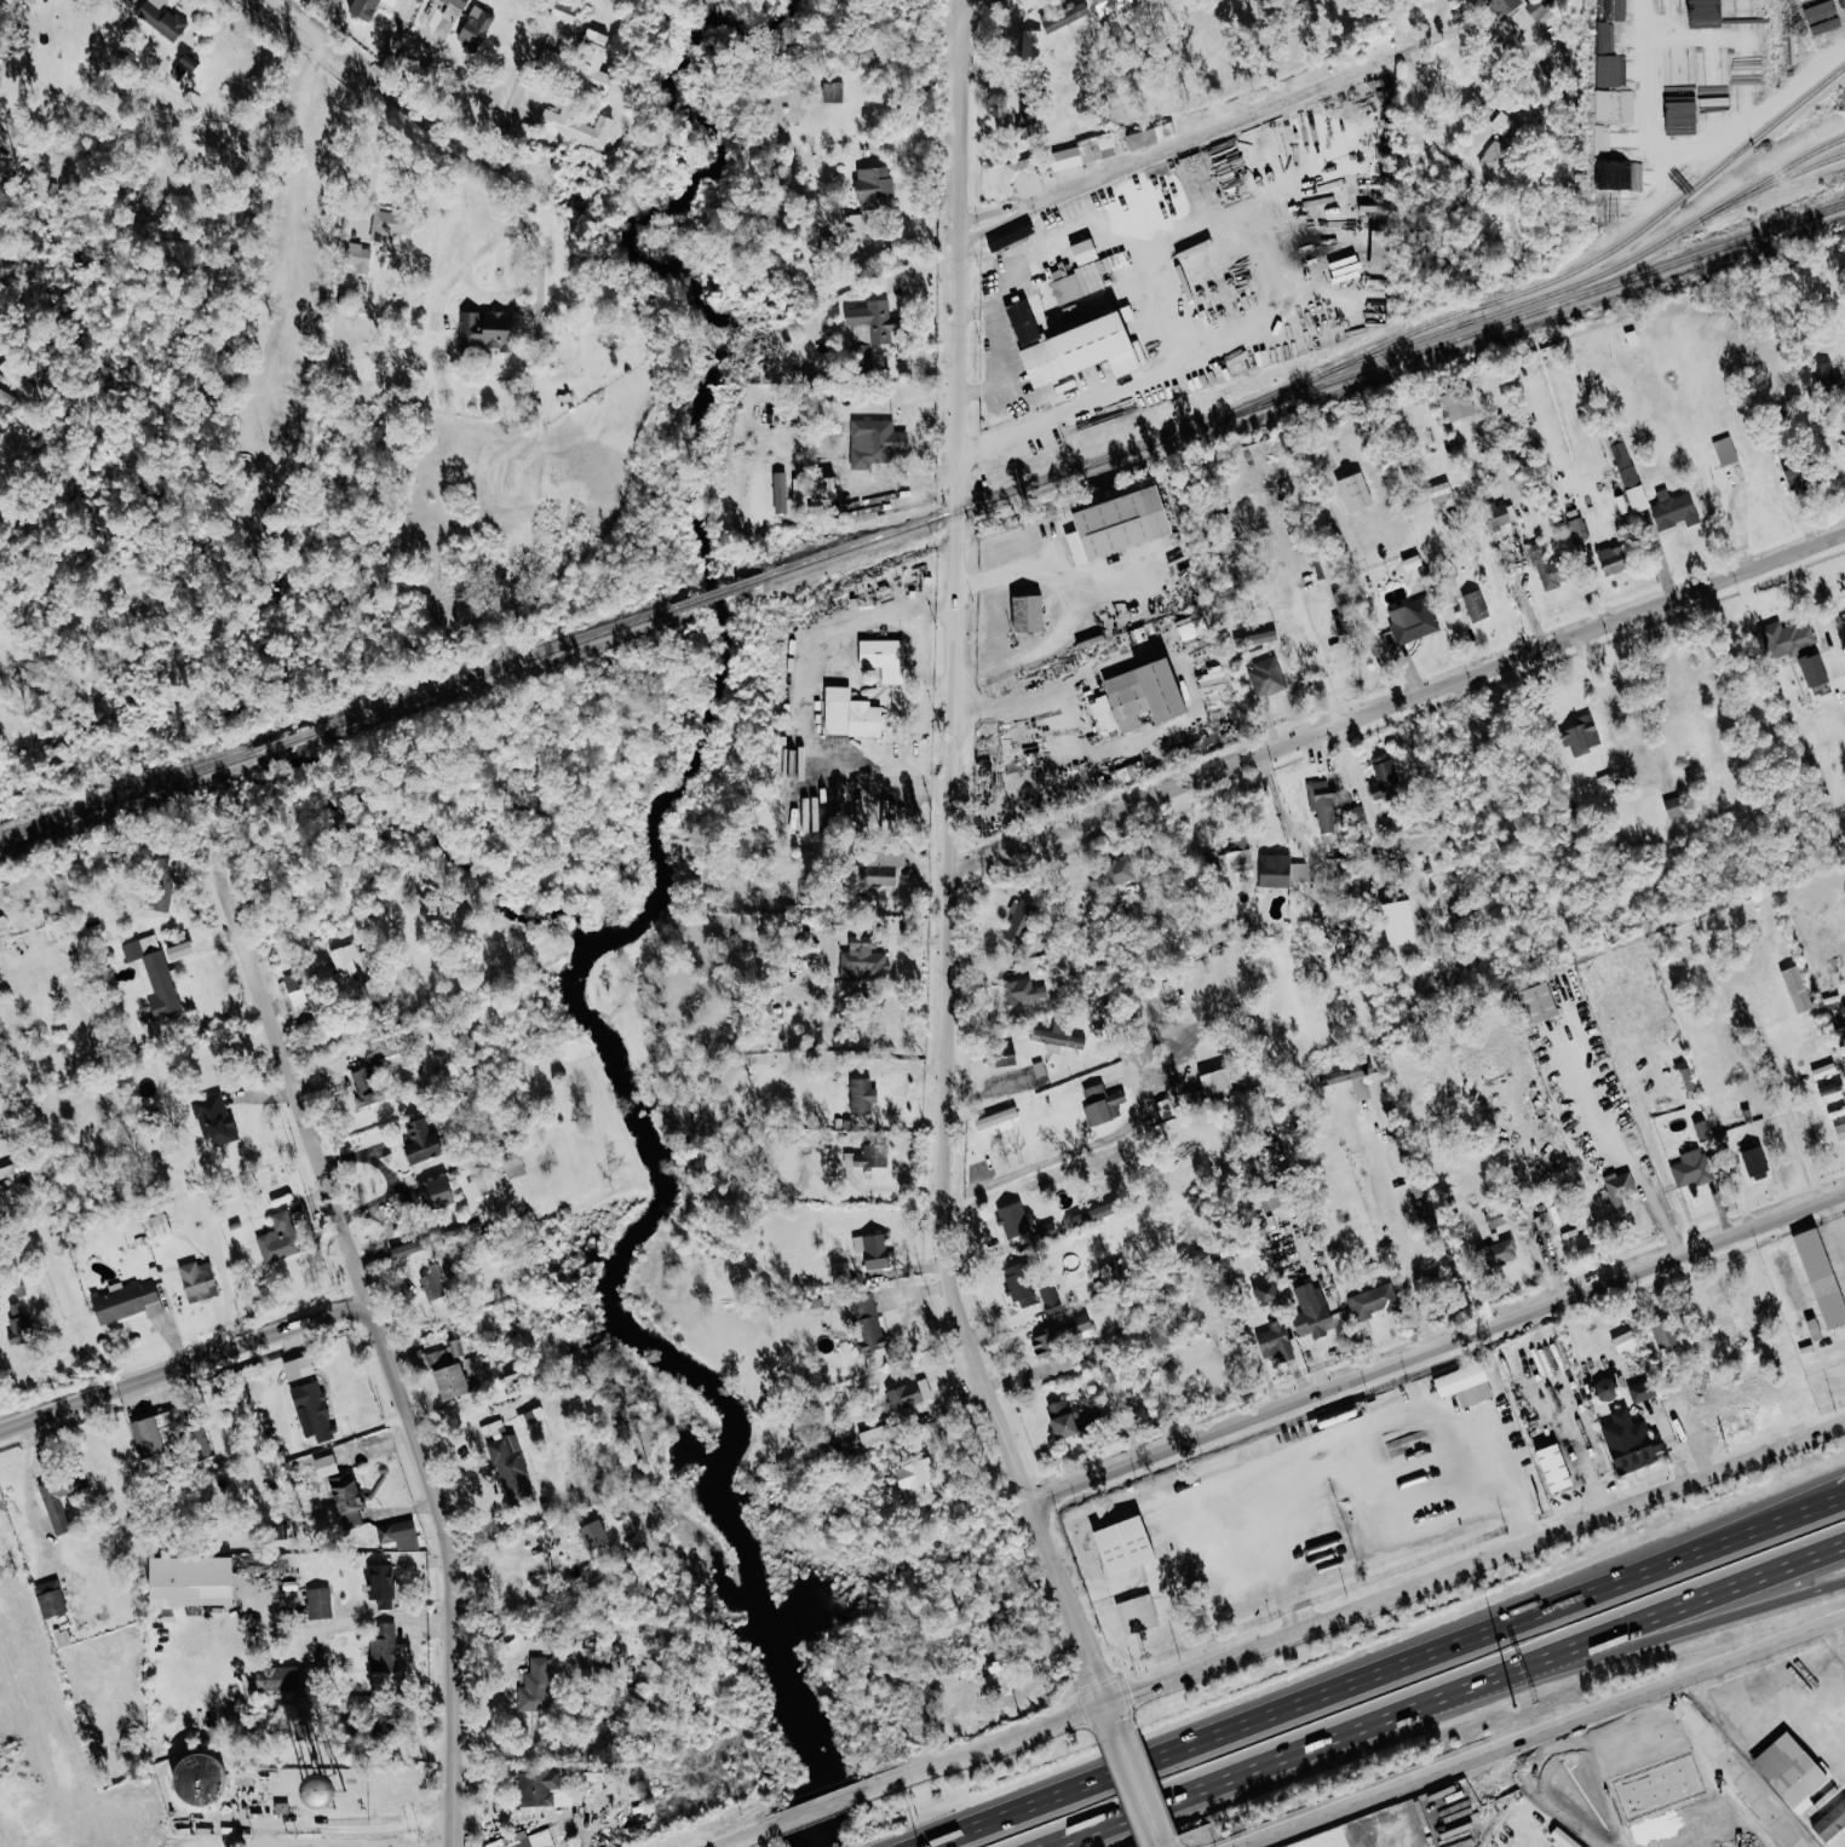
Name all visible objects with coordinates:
building: (369, 7)
building: (452, 10)
road: (964, 11)
building: (1516, 13)
building: (1059, 17)
building: (161, 18)
building: (475, 25)
building: (1031, 41)
building: (592, 61)
road: (1364, 65)
building: (1714, 80)
building: (833, 91)
road: (406, 103)
building: (1030, 110)
building: (1680, 116)
road: (926, 120)
road: (295, 123)
building: (576, 125)
building: (1150, 134)
building: (1501, 140)
railway: (1797, 156)
building: (1065, 157)
road: (374, 161)
building: (1024, 176)
building: (870, 196)
road: (1008, 205)
road: (1372, 207)
road: (1010, 217)
building: (390, 224)
building: (1008, 234)
railway: (1619, 242)
building: (830, 243)
building: (1085, 249)
building: (1380, 251)
building: (358, 257)
building: (1074, 281)
road: (475, 286)
railway: (1547, 293)
road: (1000, 297)
building: (869, 328)
building: (485, 329)
building: (1075, 344)
road: (985, 375)
building: (1827, 378)
railway: (1303, 389)
building: (1458, 403)
building: (1495, 430)
building: (874, 442)
road: (976, 450)
building: (1725, 450)
road: (1035, 458)
building: (1622, 462)
building: (1797, 473)
building: (826, 487)
road: (1157, 488)
building: (780, 491)
building: (1355, 491)
building: (1432, 493)
building: (1637, 497)
building: (1673, 510)
building: (1500, 514)
building: (1120, 524)
building: (1577, 529)
building: (1613, 558)
building: (1545, 565)
building: (1323, 566)
road: (1004, 572)
road: (1498, 581)
railway: (717, 592)
building: (1475, 605)
building: (1343, 609)
building: (1028, 612)
building: (1412, 621)
building: (1191, 626)
building: (1786, 638)
road: (1007, 646)
building: (884, 657)
road: (1322, 667)
building: (1815, 668)
building: (1265, 677)
building: (1146, 694)
road: (803, 697)
road: (1013, 697)
road: (1602, 702)
road: (1396, 708)
building: (850, 714)
building: (1103, 714)
railway: (335, 723)
building: (1581, 735)
building: (1385, 778)
building: (1673, 806)
road: (1280, 809)
building: (1324, 810)
building: (1228, 859)
building: (1119, 870)
building: (1280, 870)
building: (876, 875)
road: (944, 878)
building: (159, 902)
building: (1018, 922)
building: (1399, 922)
building: (4, 932)
building: (863, 956)
building: (345, 969)
building: (153, 973)
building: (295, 990)
building: (1022, 991)
building: (1540, 1002)
building: (1057, 1037)
building: (378, 1048)
building: (1000, 1054)
building: (1688, 1078)
building: (1217, 1081)
building: (1327, 1082)
building: (364, 1087)
road: (993, 1089)
building: (862, 1095)
building: (1103, 1104)
building: (213, 1120)
building: (1840, 1132)
building: (423, 1141)
building: (867, 1156)
building: (1755, 1162)
road: (1029, 1168)
building: (1691, 1169)
building: (1420, 1187)
building: (1620, 1187)
building: (436, 1192)
building: (1271, 1201)
building: (1092, 1214)
building: (1425, 1218)
building: (1495, 1218)
road: (1835, 1221)
building: (157, 1226)
building: (1016, 1226)
road: (1396, 1232)
building: (278, 1238)
building: (403, 1249)
building: (873, 1250)
building: (1499, 1252)
building: (1821, 1277)
building: (197, 1281)
building: (1019, 1284)
building: (1265, 1295)
building: (1050, 1299)
building: (1369, 1300)
building: (125, 1301)
building: (811, 1308)
building: (1311, 1314)
building: (21, 1324)
building: (868, 1324)
building: (1062, 1333)
building: (1665, 1335)
building: (1275, 1342)
building: (1625, 1342)
road: (1438, 1350)
road: (178, 1359)
building: (1061, 1364)
building: (298, 1368)
building: (444, 1369)
road: (384, 1370)
building: (1465, 1385)
building: (1605, 1389)
building: (1642, 1391)
building: (909, 1394)
building: (312, 1410)
road: (1389, 1417)
building: (1069, 1419)
building: (196, 1428)
building: (155, 1434)
building: (872, 1434)
building: (1630, 1442)
building: (324, 1466)
building: (510, 1468)
building: (1554, 1468)
building: (916, 1477)
building: (346, 1496)
building: (56, 1507)
building: (593, 1534)
building: (397, 1535)
building: (1125, 1546)
building: (191, 1582)
building: (381, 1586)
building: (50, 1599)
building: (317, 1603)
road: (1695, 1605)
road: (1361, 1607)
building: (1137, 1613)
road: (1843, 1627)
road: (1695, 1628)
building: (383, 1649)
road: (1383, 1671)
building: (276, 1679)
building: (535, 1686)
road: (1814, 1724)
road: (1542, 1733)
road: (1295, 1755)
building: (1791, 1771)
building: (201, 1777)
water tower: (197, 1778)
building: (536, 1786)
road: (1136, 1788)
water tower: (242, 1790)
building: (243, 1790)
water tower: (326, 1791)
building: (281, 1806)
road: (818, 1808)
building: (1830, 1820)
building: (525, 1839)
road: (740, 1839)
building: (1563, 1839)
road: (1156, 1846)

